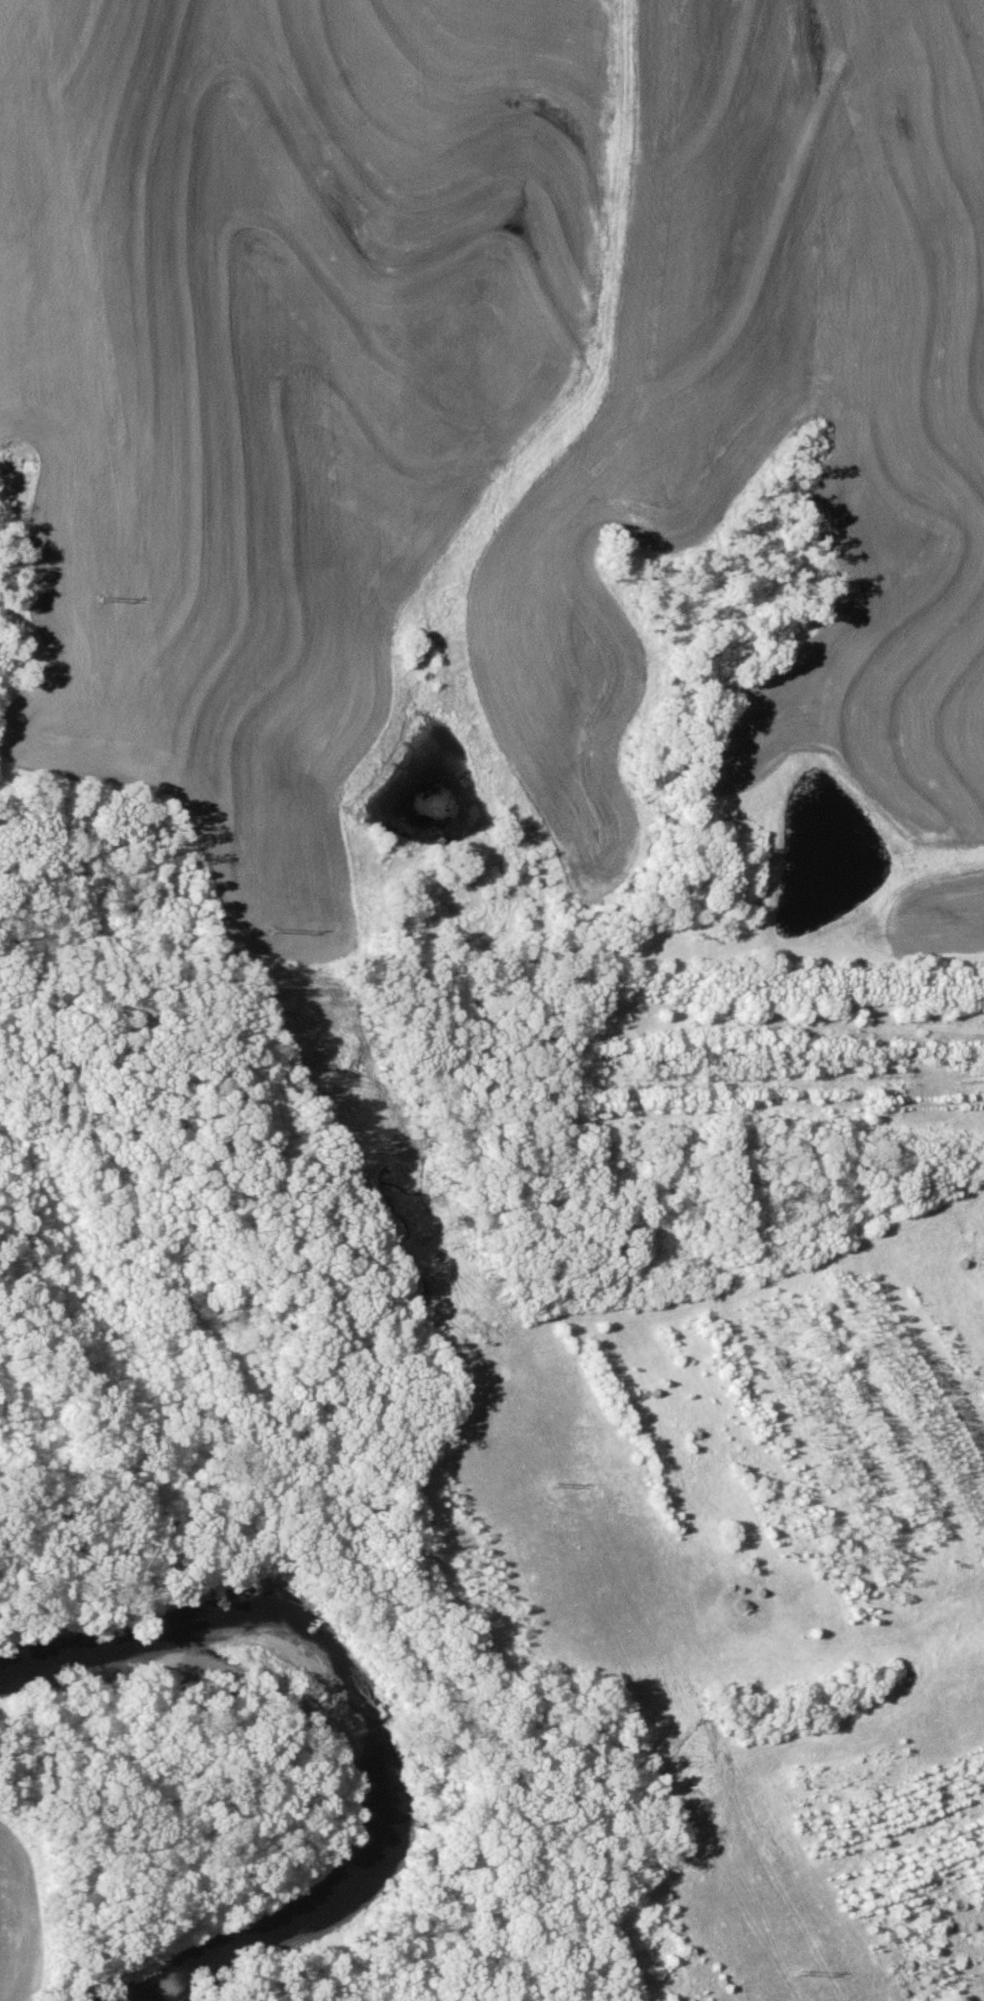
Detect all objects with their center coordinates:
river: (374, 1730)

